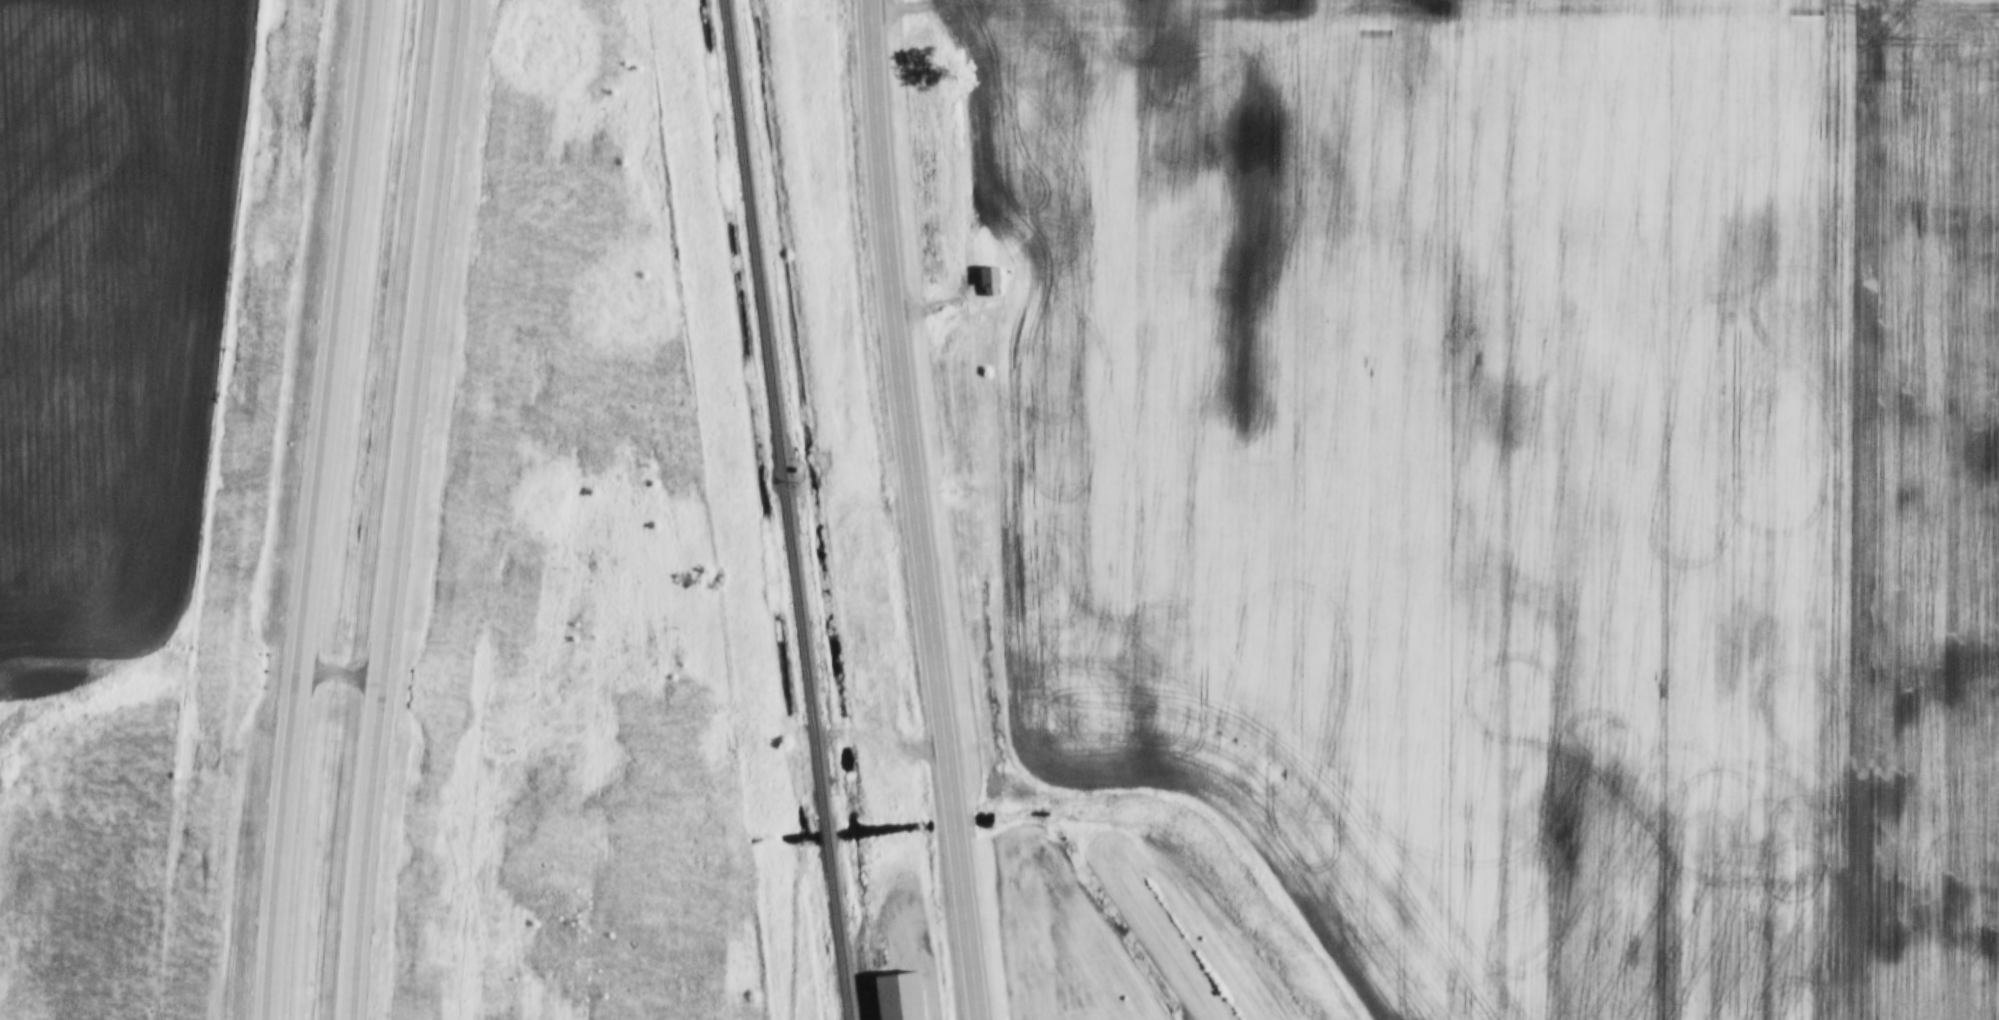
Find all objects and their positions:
building: (991, 278)
road: (317, 509)
road: (395, 509)
railway: (785, 509)
road: (921, 510)
railway: (866, 985)
building: (901, 998)

